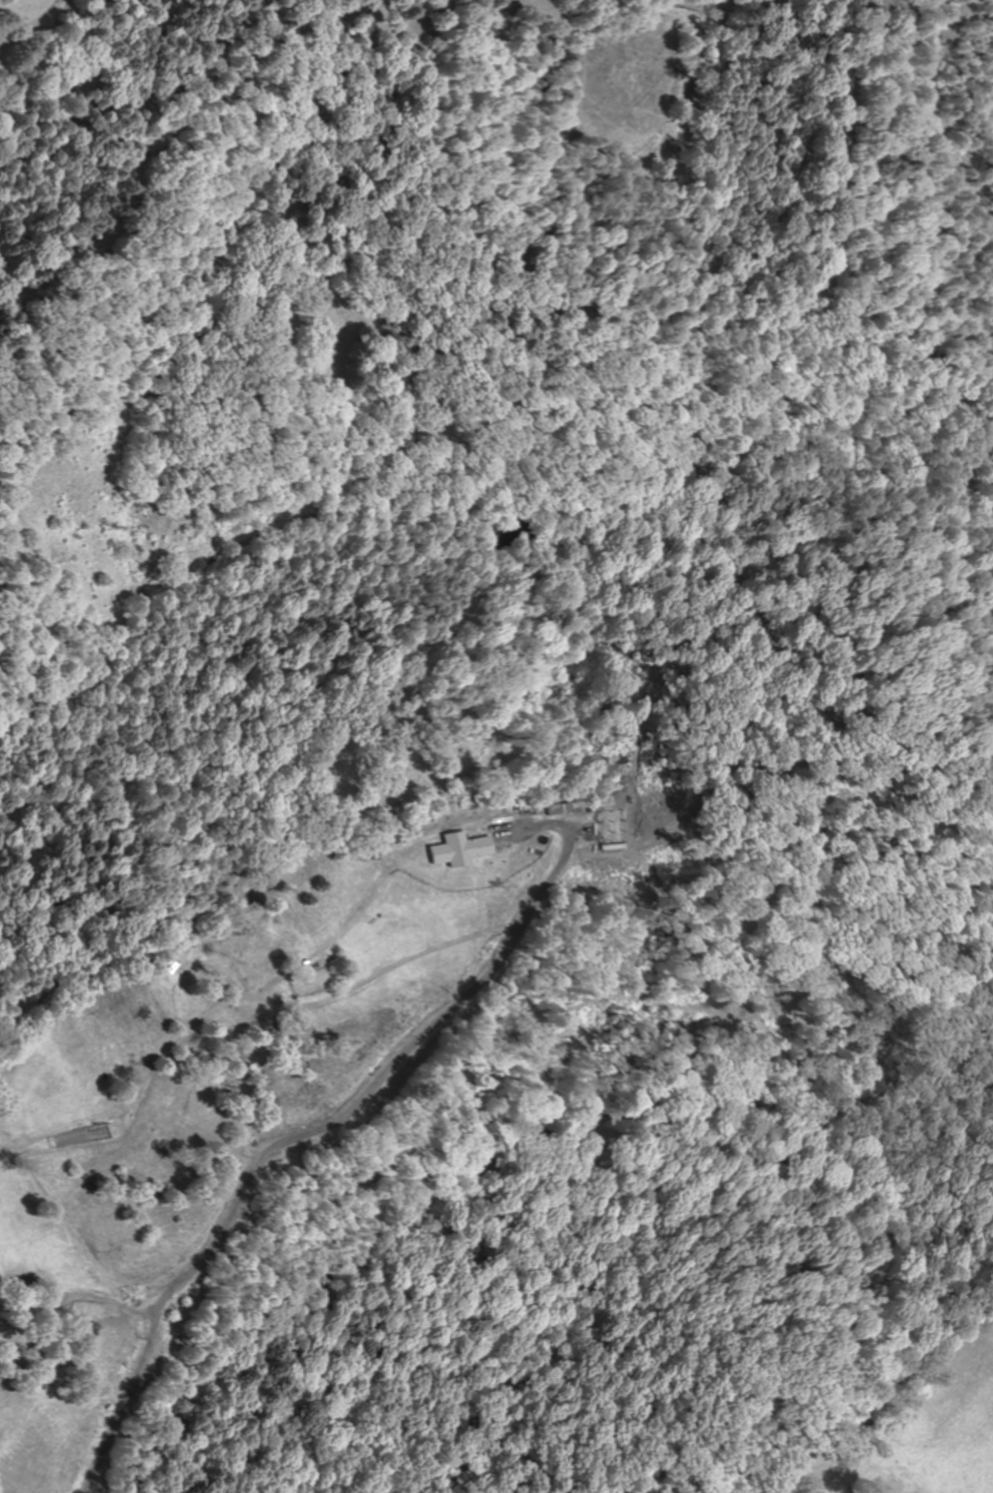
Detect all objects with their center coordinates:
road: (46, 62)
road: (320, 1126)
road: (106, 1299)

